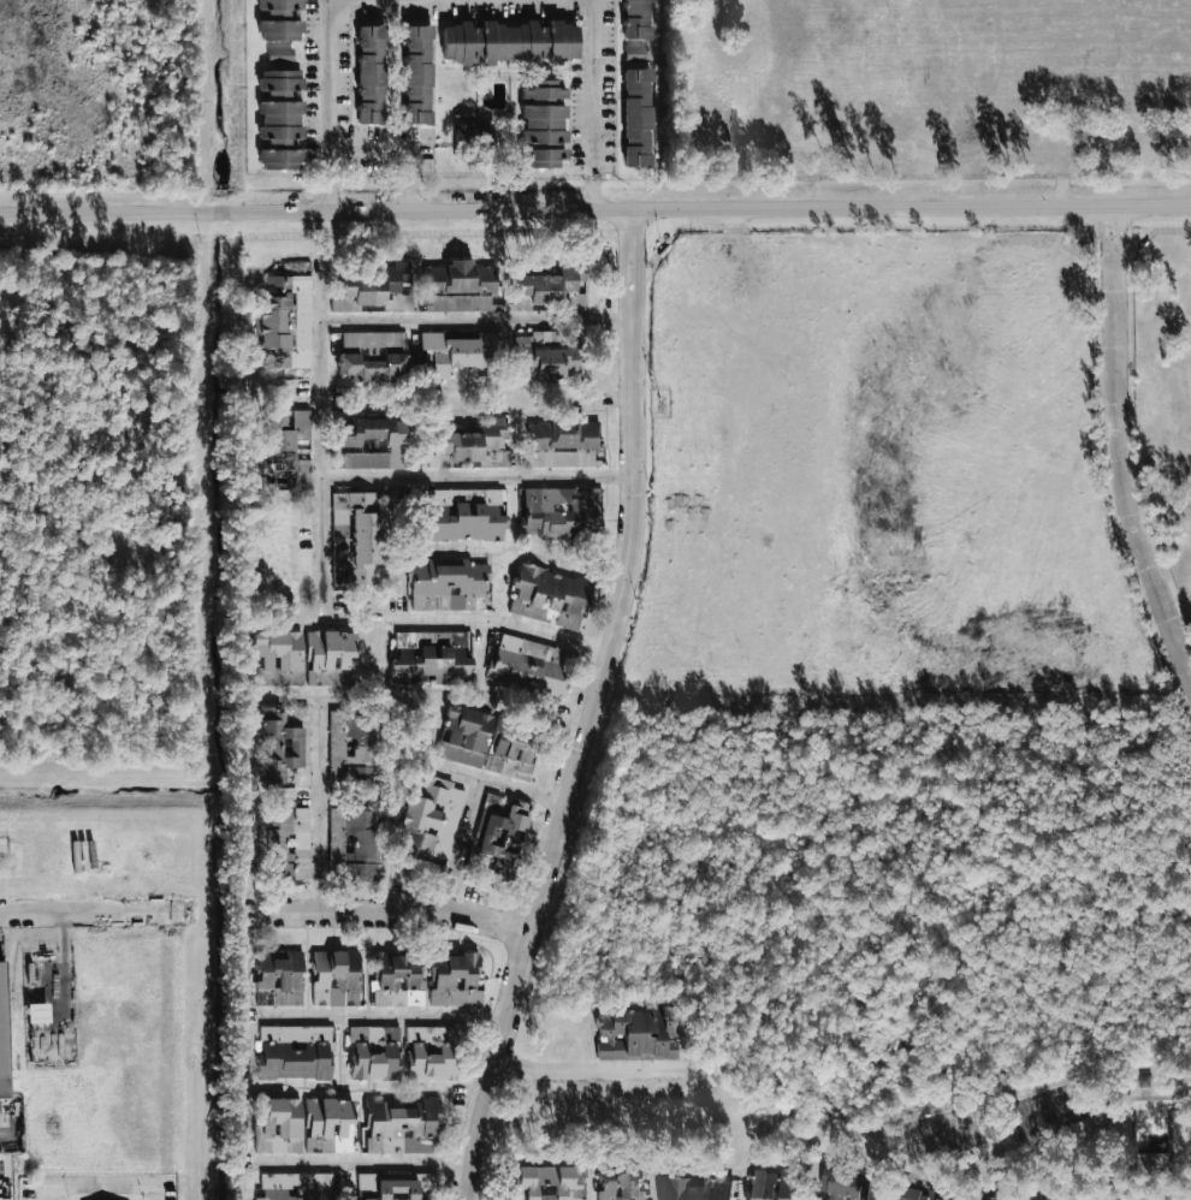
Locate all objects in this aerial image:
building: (636, 19)
building: (279, 20)
building: (509, 42)
building: (636, 54)
building: (280, 55)
building: (1062, 57)
building: (371, 75)
building: (417, 75)
road: (330, 102)
road: (594, 102)
building: (636, 117)
building: (280, 120)
building: (543, 125)
building: (462, 126)
road: (595, 210)
building: (556, 286)
building: (458, 287)
building: (373, 290)
road: (478, 319)
building: (286, 321)
building: (372, 339)
building: (461, 352)
building: (549, 356)
building: (374, 368)
road: (326, 440)
building: (476, 442)
building: (374, 444)
building: (563, 444)
road: (1118, 444)
building: (290, 448)
road: (480, 475)
building: (558, 507)
building: (466, 515)
building: (356, 537)
building: (448, 584)
building: (549, 596)
road: (505, 623)
building: (431, 657)
building: (279, 658)
building: (330, 658)
building: (529, 665)
road: (589, 708)
building: (285, 745)
building: (351, 749)
building: (511, 753)
road: (508, 786)
road: (320, 803)
building: (431, 818)
building: (269, 819)
building: (500, 832)
building: (356, 843)
road: (462, 844)
building: (288, 845)
road: (385, 910)
road: (87, 915)
building: (336, 978)
building: (279, 979)
building: (397, 980)
building: (455, 980)
road: (389, 1014)
building: (639, 1034)
building: (2, 1036)
road: (174, 1045)
road: (689, 1047)
building: (295, 1052)
building: (374, 1052)
building: (431, 1052)
road: (603, 1073)
building: (278, 1125)
building: (328, 1125)
building: (404, 1127)
road: (362, 1162)
building: (622, 1180)
road: (101, 1181)
building: (546, 1181)
building: (772, 1184)
building: (398, 1186)
building: (846, 1186)
building: (296, 1187)
building: (697, 1188)
building: (920, 1194)
road: (1120, 1198)
building: (1142, 1198)
building: (575, 1199)
building: (984, 1199)

